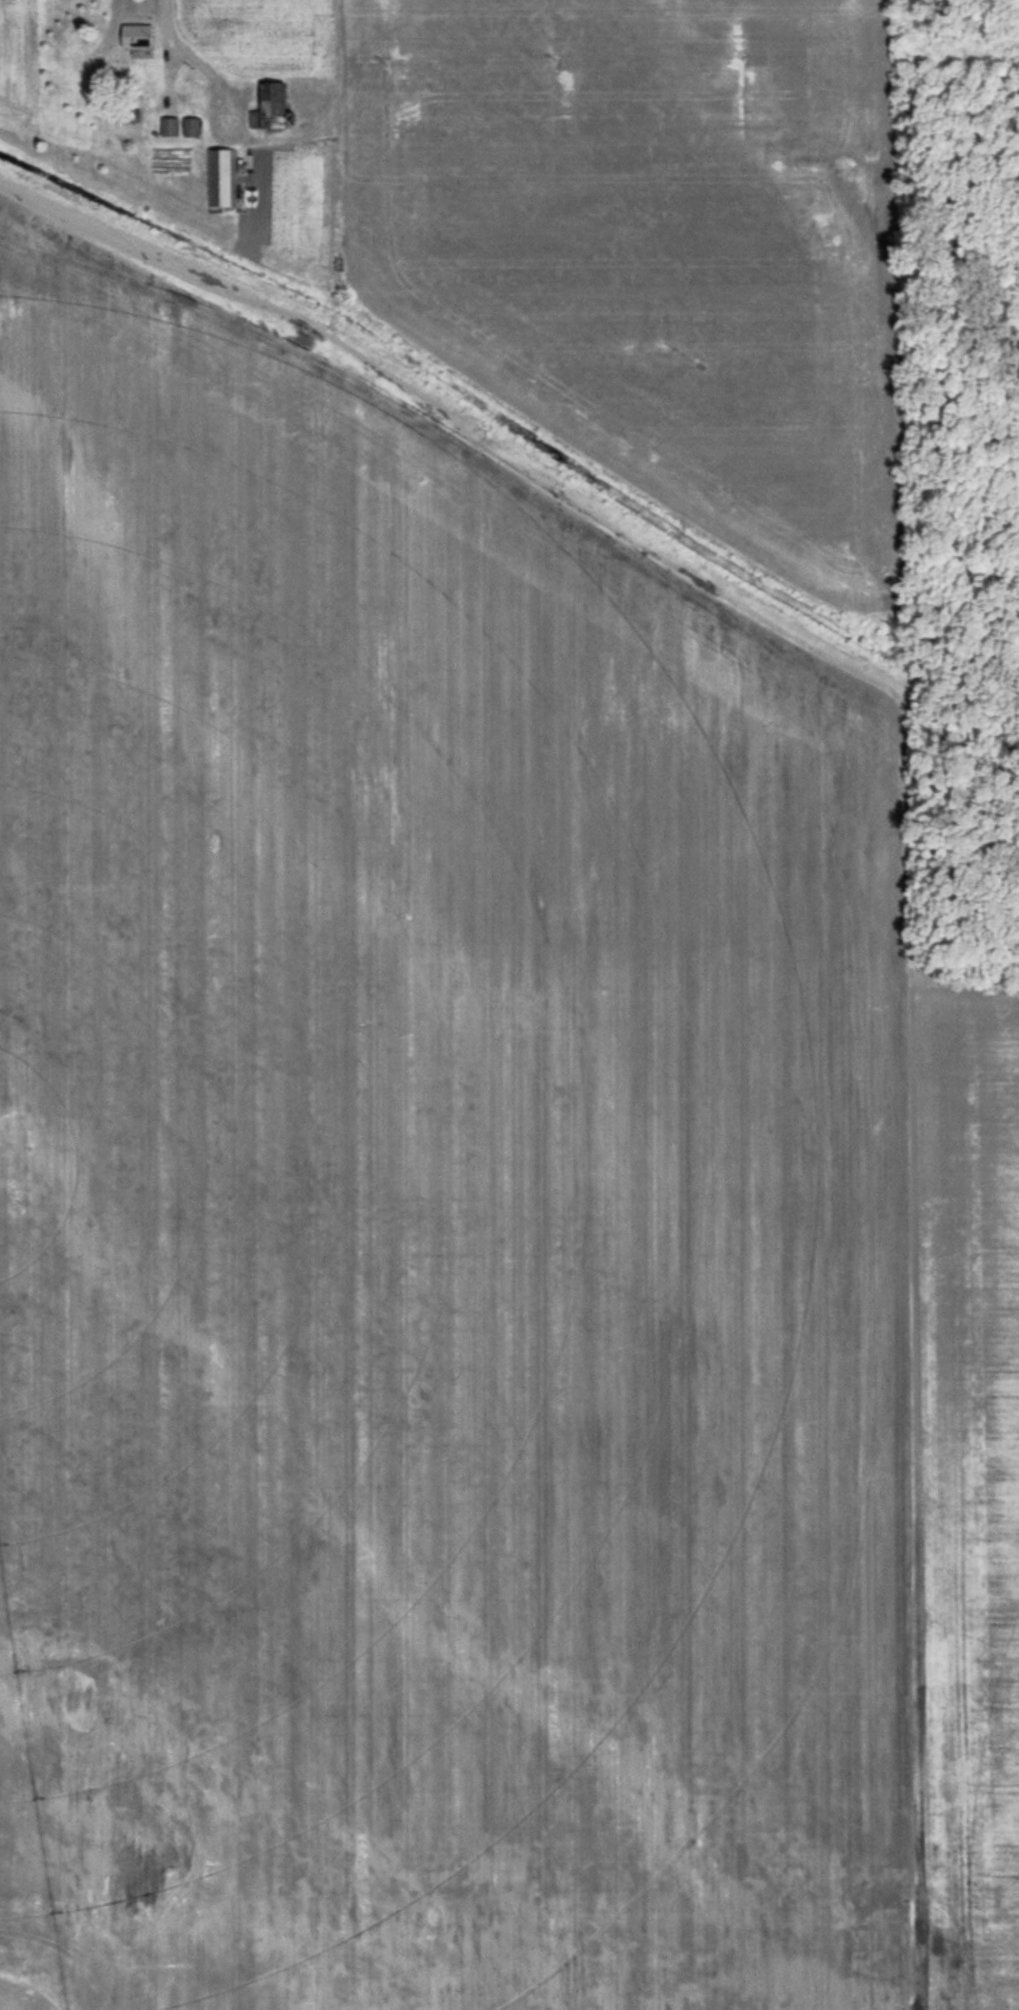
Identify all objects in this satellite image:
road: (168, 27)
building: (135, 34)
building: (170, 126)
building: (191, 126)
building: (219, 177)

